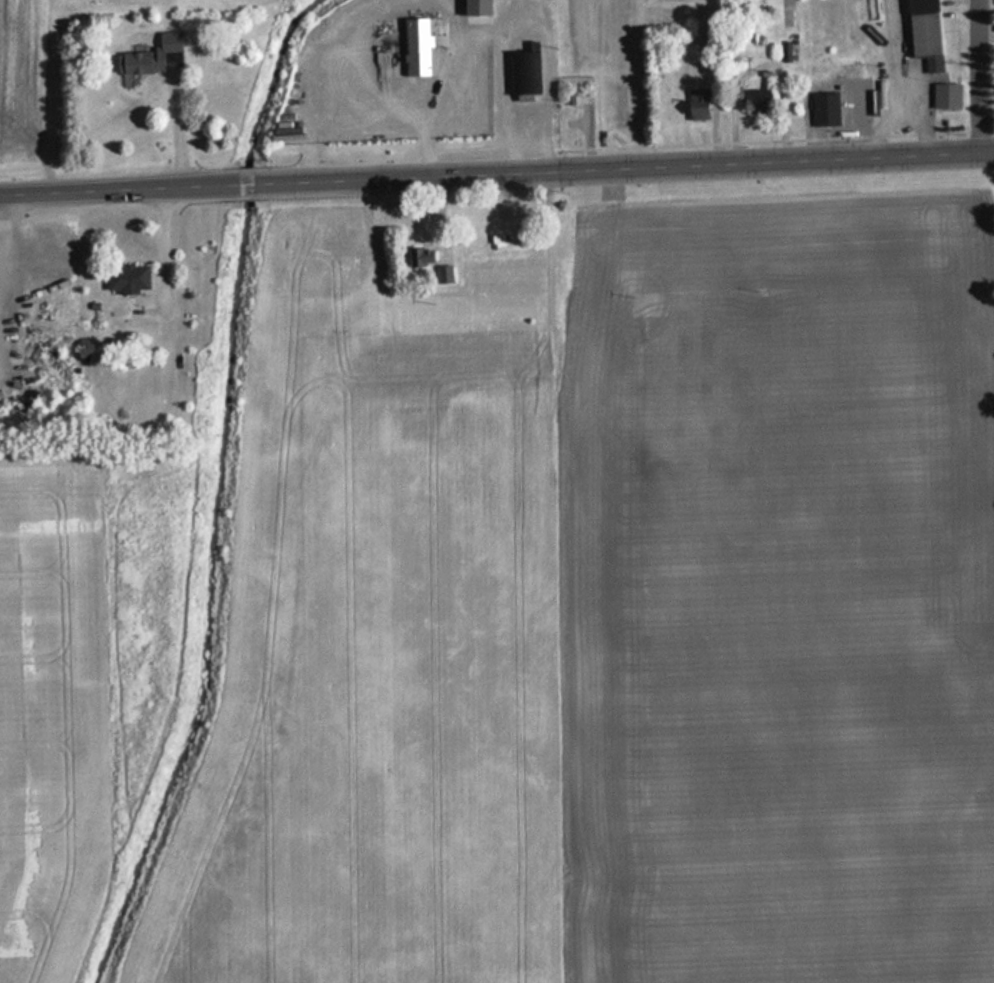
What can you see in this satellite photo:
building: (475, 7)
building: (923, 32)
building: (418, 47)
building: (152, 56)
building: (525, 71)
road: (979, 75)
building: (945, 96)
building: (754, 99)
building: (697, 103)
building: (823, 110)
road: (775, 141)
road: (765, 163)
road: (268, 187)
building: (505, 244)
building: (427, 259)
building: (127, 278)
building: (415, 423)

